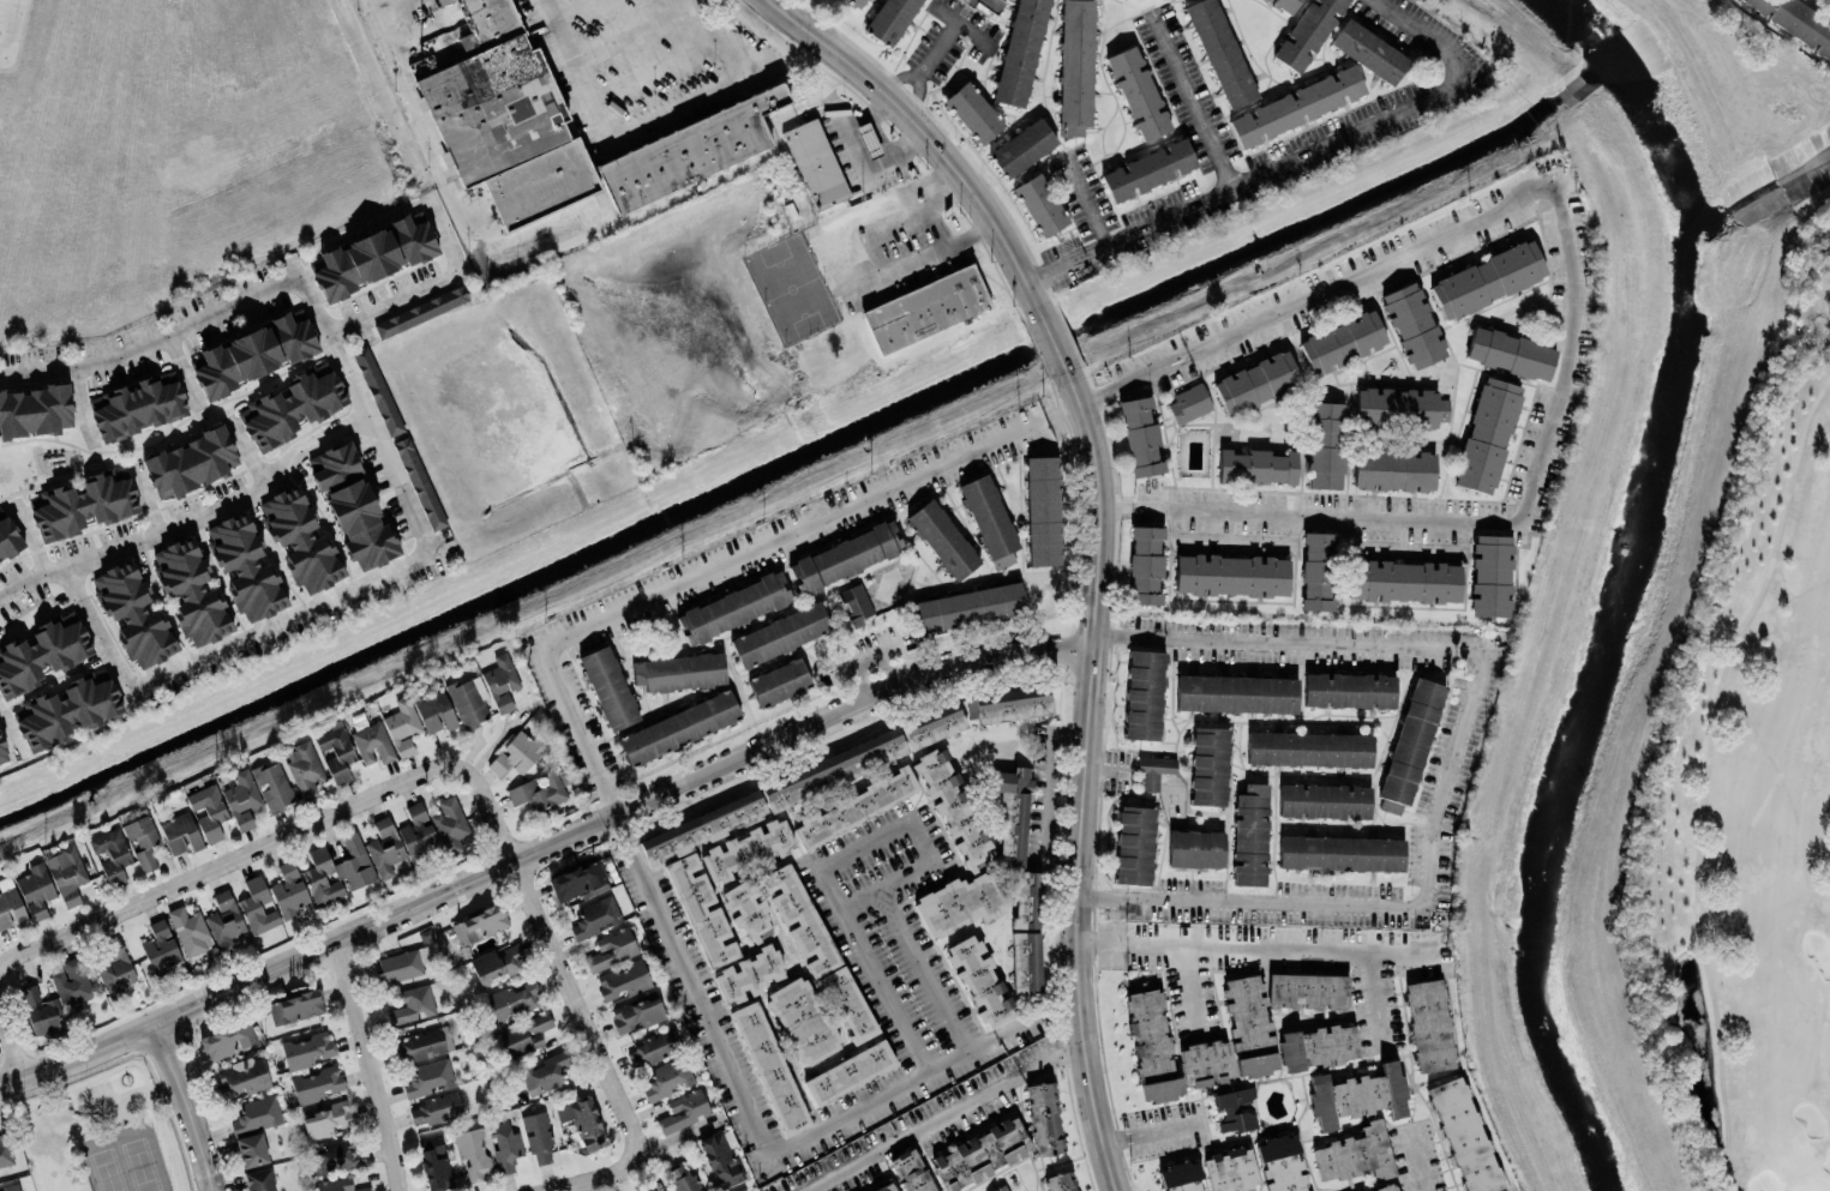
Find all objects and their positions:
building: (443, 1)
road: (688, 2)
building: (856, 2)
building: (1285, 5)
building: (890, 20)
building: (1804, 25)
road: (962, 26)
road: (11, 29)
building: (1307, 32)
building: (1369, 50)
building: (1020, 52)
building: (1220, 52)
road: (928, 64)
building: (1076, 66)
road: (577, 68)
road: (734, 80)
building: (1138, 92)
road: (383, 94)
road: (1192, 98)
building: (1297, 104)
building: (973, 112)
building: (565, 126)
road: (923, 133)
building: (870, 138)
building: (1021, 148)
road: (1290, 160)
building: (816, 162)
building: (1150, 169)
road: (451, 203)
building: (1040, 204)
road: (905, 219)
building: (372, 255)
road: (919, 255)
road: (1066, 261)
building: (1487, 278)
road: (431, 284)
road: (1573, 297)
building: (926, 309)
building: (420, 311)
building: (1414, 324)
road: (1055, 337)
building: (1343, 342)
building: (1510, 353)
road: (180, 367)
building: (1256, 381)
road: (355, 386)
building: (377, 390)
road: (78, 401)
building: (1188, 403)
building: (137, 407)
building: (292, 407)
building: (1399, 408)
building: (35, 409)
building: (1487, 435)
building: (1140, 437)
building: (1325, 444)
road: (246, 447)
building: (190, 462)
building: (1256, 465)
building: (1394, 469)
building: (419, 483)
road: (145, 494)
building: (85, 503)
building: (352, 505)
building: (1043, 510)
building: (989, 519)
building: (8, 539)
building: (300, 539)
building: (942, 539)
building: (846, 555)
road: (730, 561)
building: (1145, 564)
building: (245, 566)
building: (1318, 570)
building: (1231, 575)
building: (1490, 575)
building: (1404, 581)
river: (1608, 582)
building: (191, 591)
building: (854, 602)
building: (968, 606)
building: (733, 607)
building: (133, 613)
road: (286, 615)
building: (779, 633)
building: (41, 654)
road: (866, 655)
road: (889, 667)
building: (679, 672)
road: (860, 680)
building: (500, 681)
building: (779, 681)
building: (608, 687)
building: (1349, 690)
building: (1236, 693)
building: (1144, 694)
building: (469, 700)
building: (1009, 704)
building: (66, 710)
building: (434, 711)
road: (8, 718)
building: (932, 724)
building: (402, 726)
building: (678, 727)
building: (373, 742)
building: (1410, 745)
building: (1309, 748)
building: (336, 751)
building: (2, 753)
building: (517, 753)
road: (1450, 758)
building: (1210, 765)
building: (304, 768)
building: (838, 768)
road: (1110, 770)
building: (1153, 770)
road: (1086, 781)
building: (274, 786)
building: (541, 789)
park: (1746, 793)
building: (241, 799)
building: (1325, 800)
building: (854, 807)
building: (208, 810)
building: (450, 819)
road: (893, 824)
building: (960, 824)
building: (702, 826)
building: (180, 832)
building: (418, 834)
building: (1250, 835)
building: (1015, 838)
building: (142, 841)
building: (1134, 844)
building: (384, 847)
road: (541, 848)
building: (1195, 848)
building: (748, 849)
building: (1342, 853)
building: (110, 854)
building: (354, 862)
road: (221, 864)
building: (65, 873)
building: (320, 876)
building: (577, 880)
building: (290, 892)
building: (24, 896)
road: (858, 898)
building: (257, 906)
building: (701, 909)
building: (748, 909)
building: (594, 916)
building: (799, 919)
building: (224, 920)
building: (479, 924)
building: (190, 930)
building: (613, 946)
building: (160, 948)
road: (1258, 950)
road: (554, 954)
building: (498, 962)
building: (1026, 962)
building: (401, 963)
building: (114, 972)
building: (748, 974)
building: (623, 979)
building: (979, 980)
building: (72, 985)
road: (1190, 987)
building: (514, 998)
road: (1376, 998)
building: (848, 1003)
building: (413, 1004)
building: (296, 1006)
building: (637, 1013)
building: (44, 1018)
building: (803, 1021)
building: (1428, 1024)
building: (524, 1034)
building: (1240, 1034)
road: (13, 1036)
building: (228, 1040)
building: (420, 1045)
building: (652, 1048)
building: (306, 1049)
road: (370, 1067)
building: (769, 1067)
building: (848, 1071)
building: (546, 1072)
building: (242, 1077)
building: (428, 1077)
building: (666, 1077)
building: (316, 1084)
building: (1357, 1094)
road: (188, 1107)
building: (434, 1108)
building: (1235, 1108)
building: (684, 1109)
building: (257, 1113)
road: (946, 1114)
building: (326, 1118)
building: (1044, 1119)
building: (582, 1121)
road: (1152, 1131)
building: (1464, 1135)
building: (538, 1137)
building: (504, 1144)
road: (762, 1145)
building: (251, 1149)
building: (5, 1150)
building: (473, 1151)
building: (980, 1154)
building: (1355, 1154)
building: (334, 1156)
building: (720, 1156)
road: (1415, 1161)
building: (434, 1162)
building: (1256, 1166)
building: (912, 1171)
building: (1180, 1177)
building: (683, 1178)
building: (259, 1179)
road: (596, 1179)
building: (1058, 1181)
building: (338, 1185)
building: (10, 1187)
building: (646, 1187)
building: (888, 1187)
building: (1386, 1187)
building: (1000, 1189)

